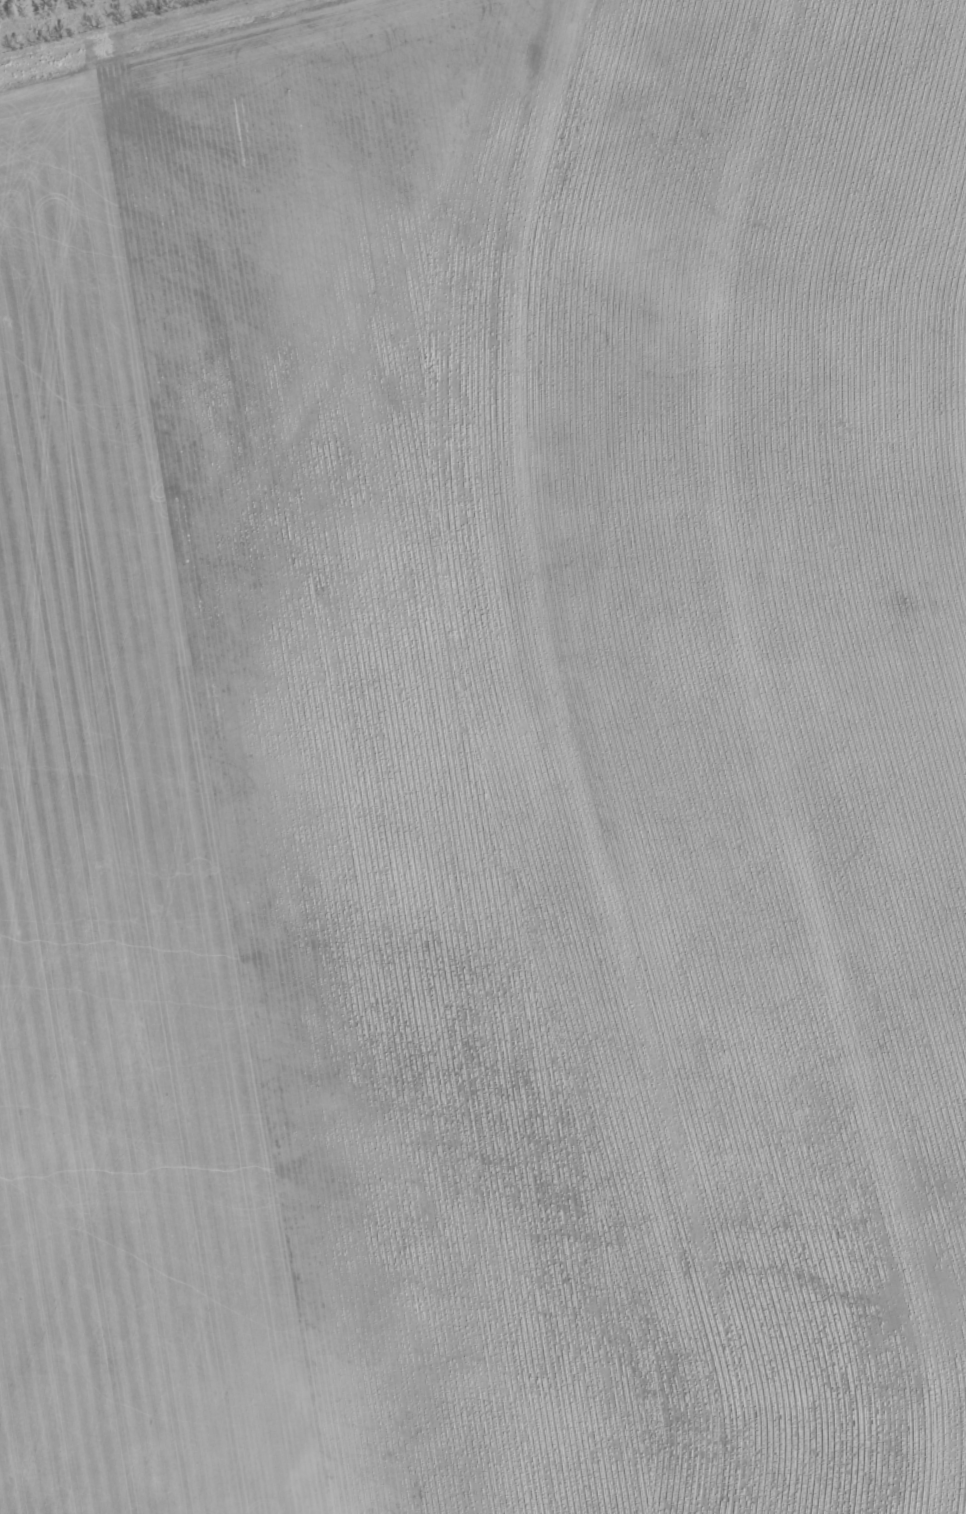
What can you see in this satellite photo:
road: (103, 1476)

